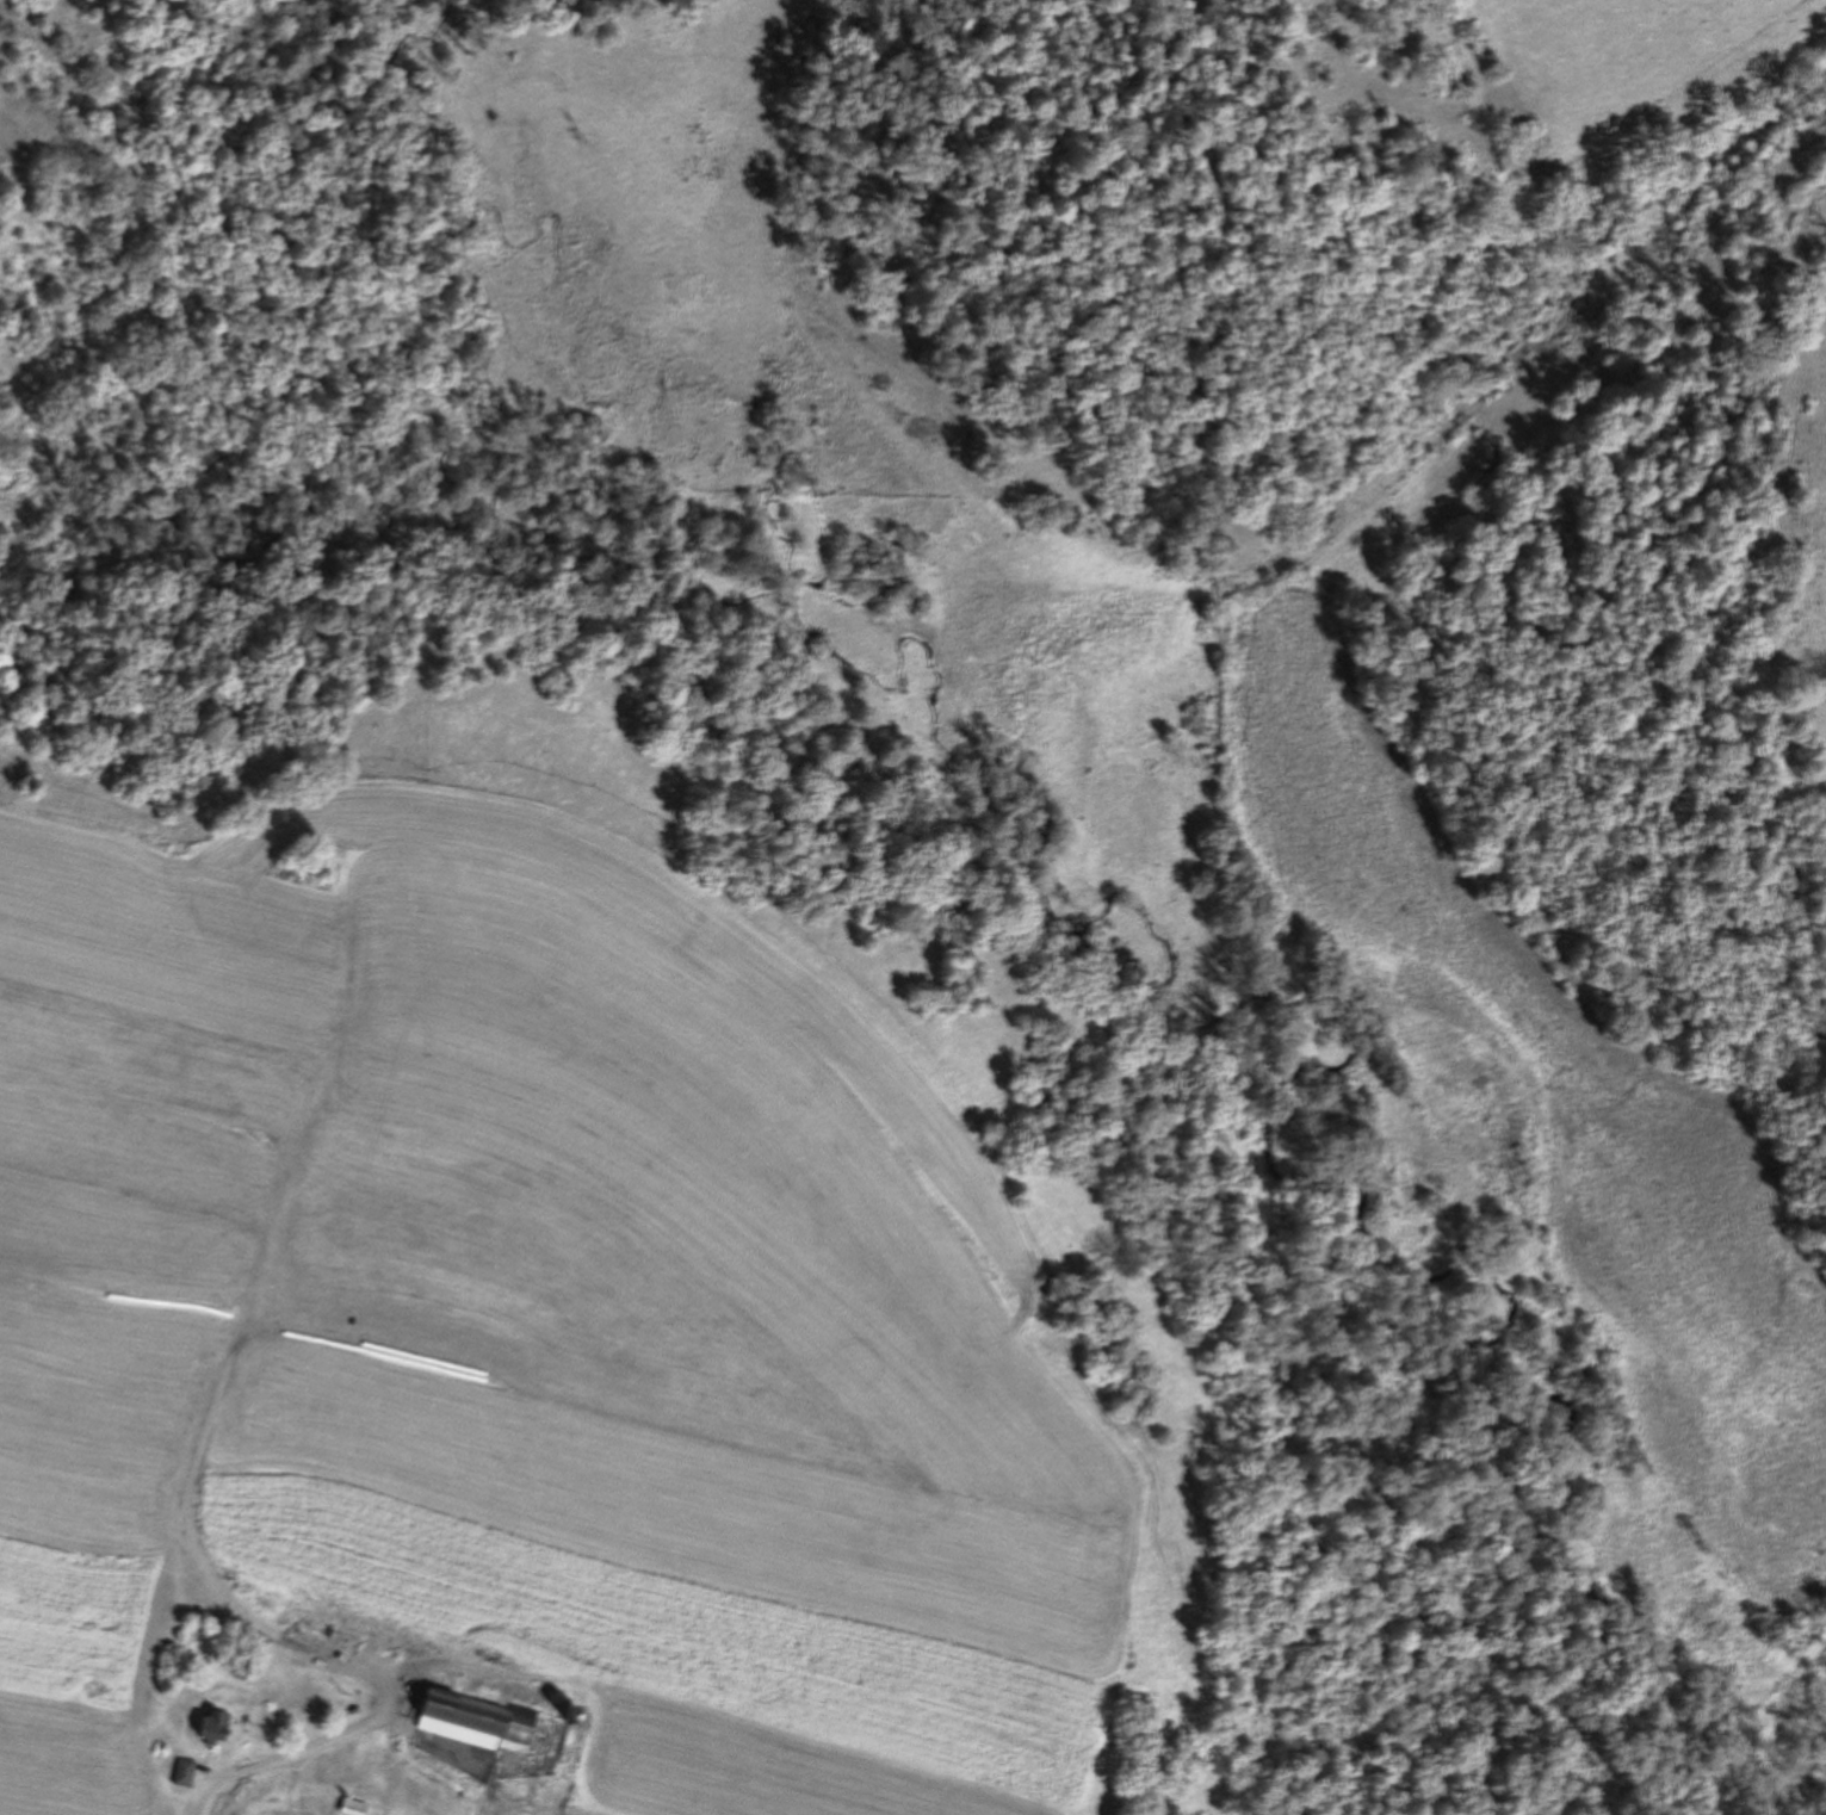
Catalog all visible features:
building: (249, 1661)
building: (477, 1715)
building: (213, 1726)
road: (246, 1749)
building: (185, 1772)
road: (209, 1788)
building: (444, 1798)
building: (353, 1807)

